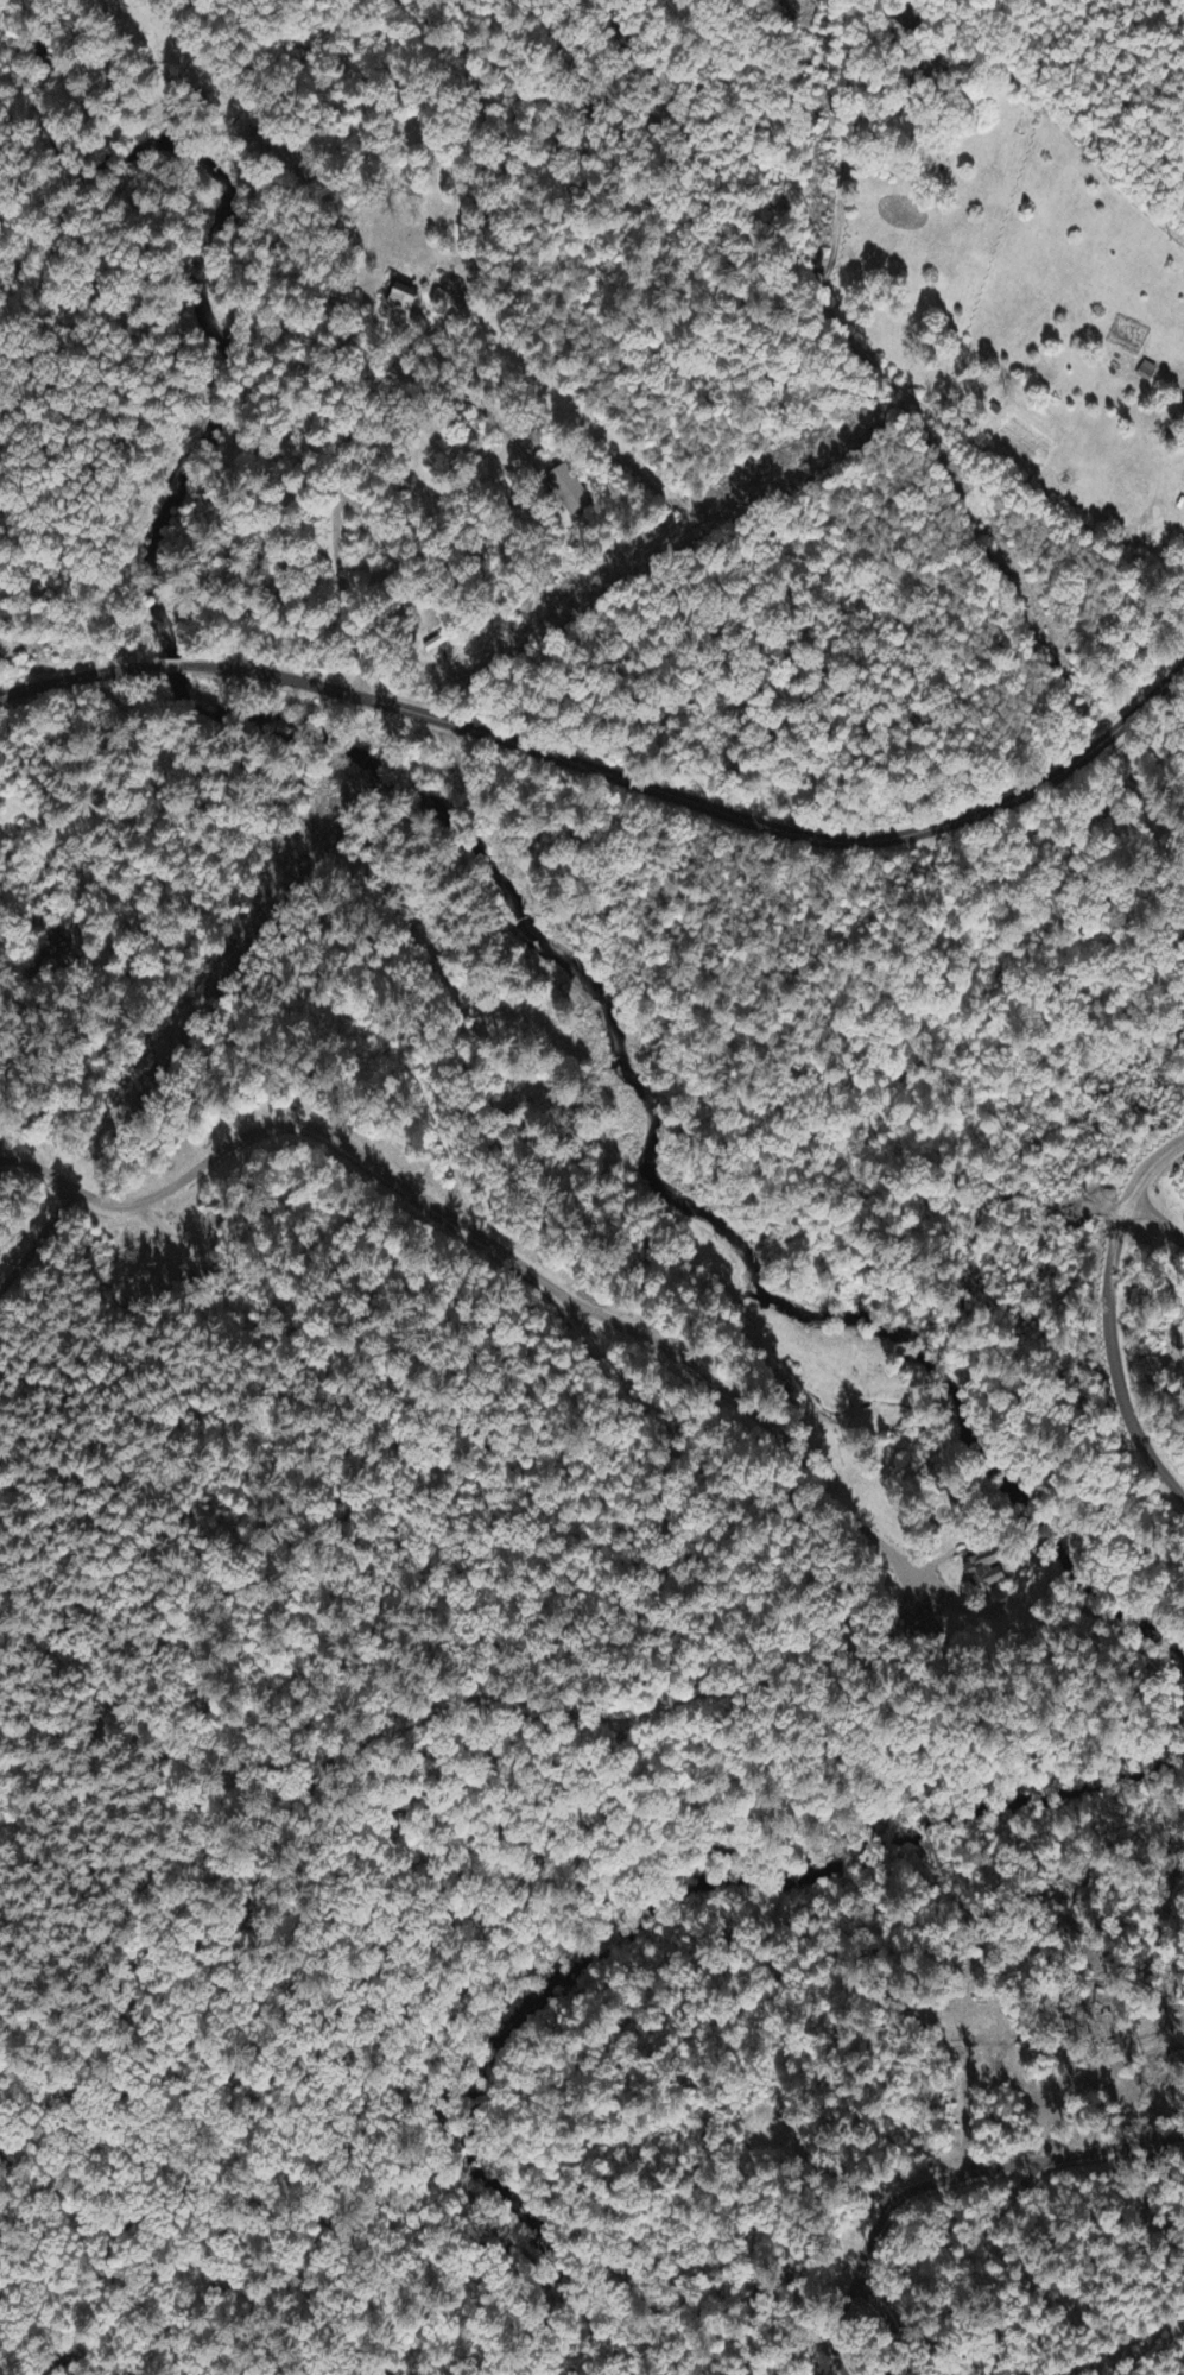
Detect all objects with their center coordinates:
building: (403, 303)
road: (410, 345)
road: (863, 368)
building: (568, 493)
road: (65, 682)
road: (675, 798)
road: (488, 1294)
road: (1107, 1315)
building: (1108, 2026)

